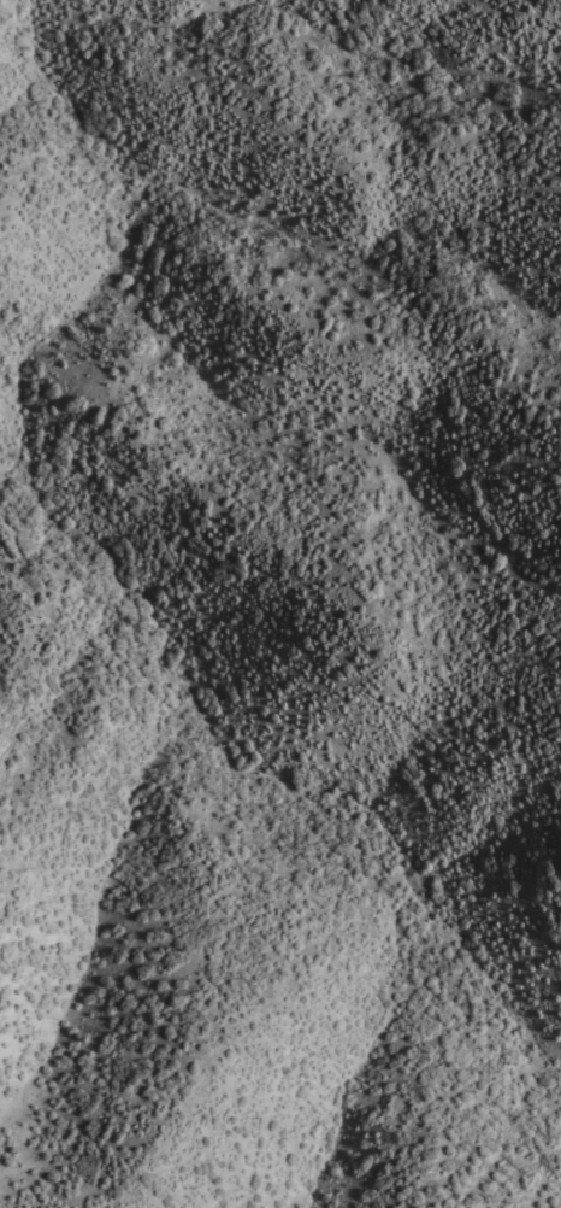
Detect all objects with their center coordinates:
road: (12, 638)

